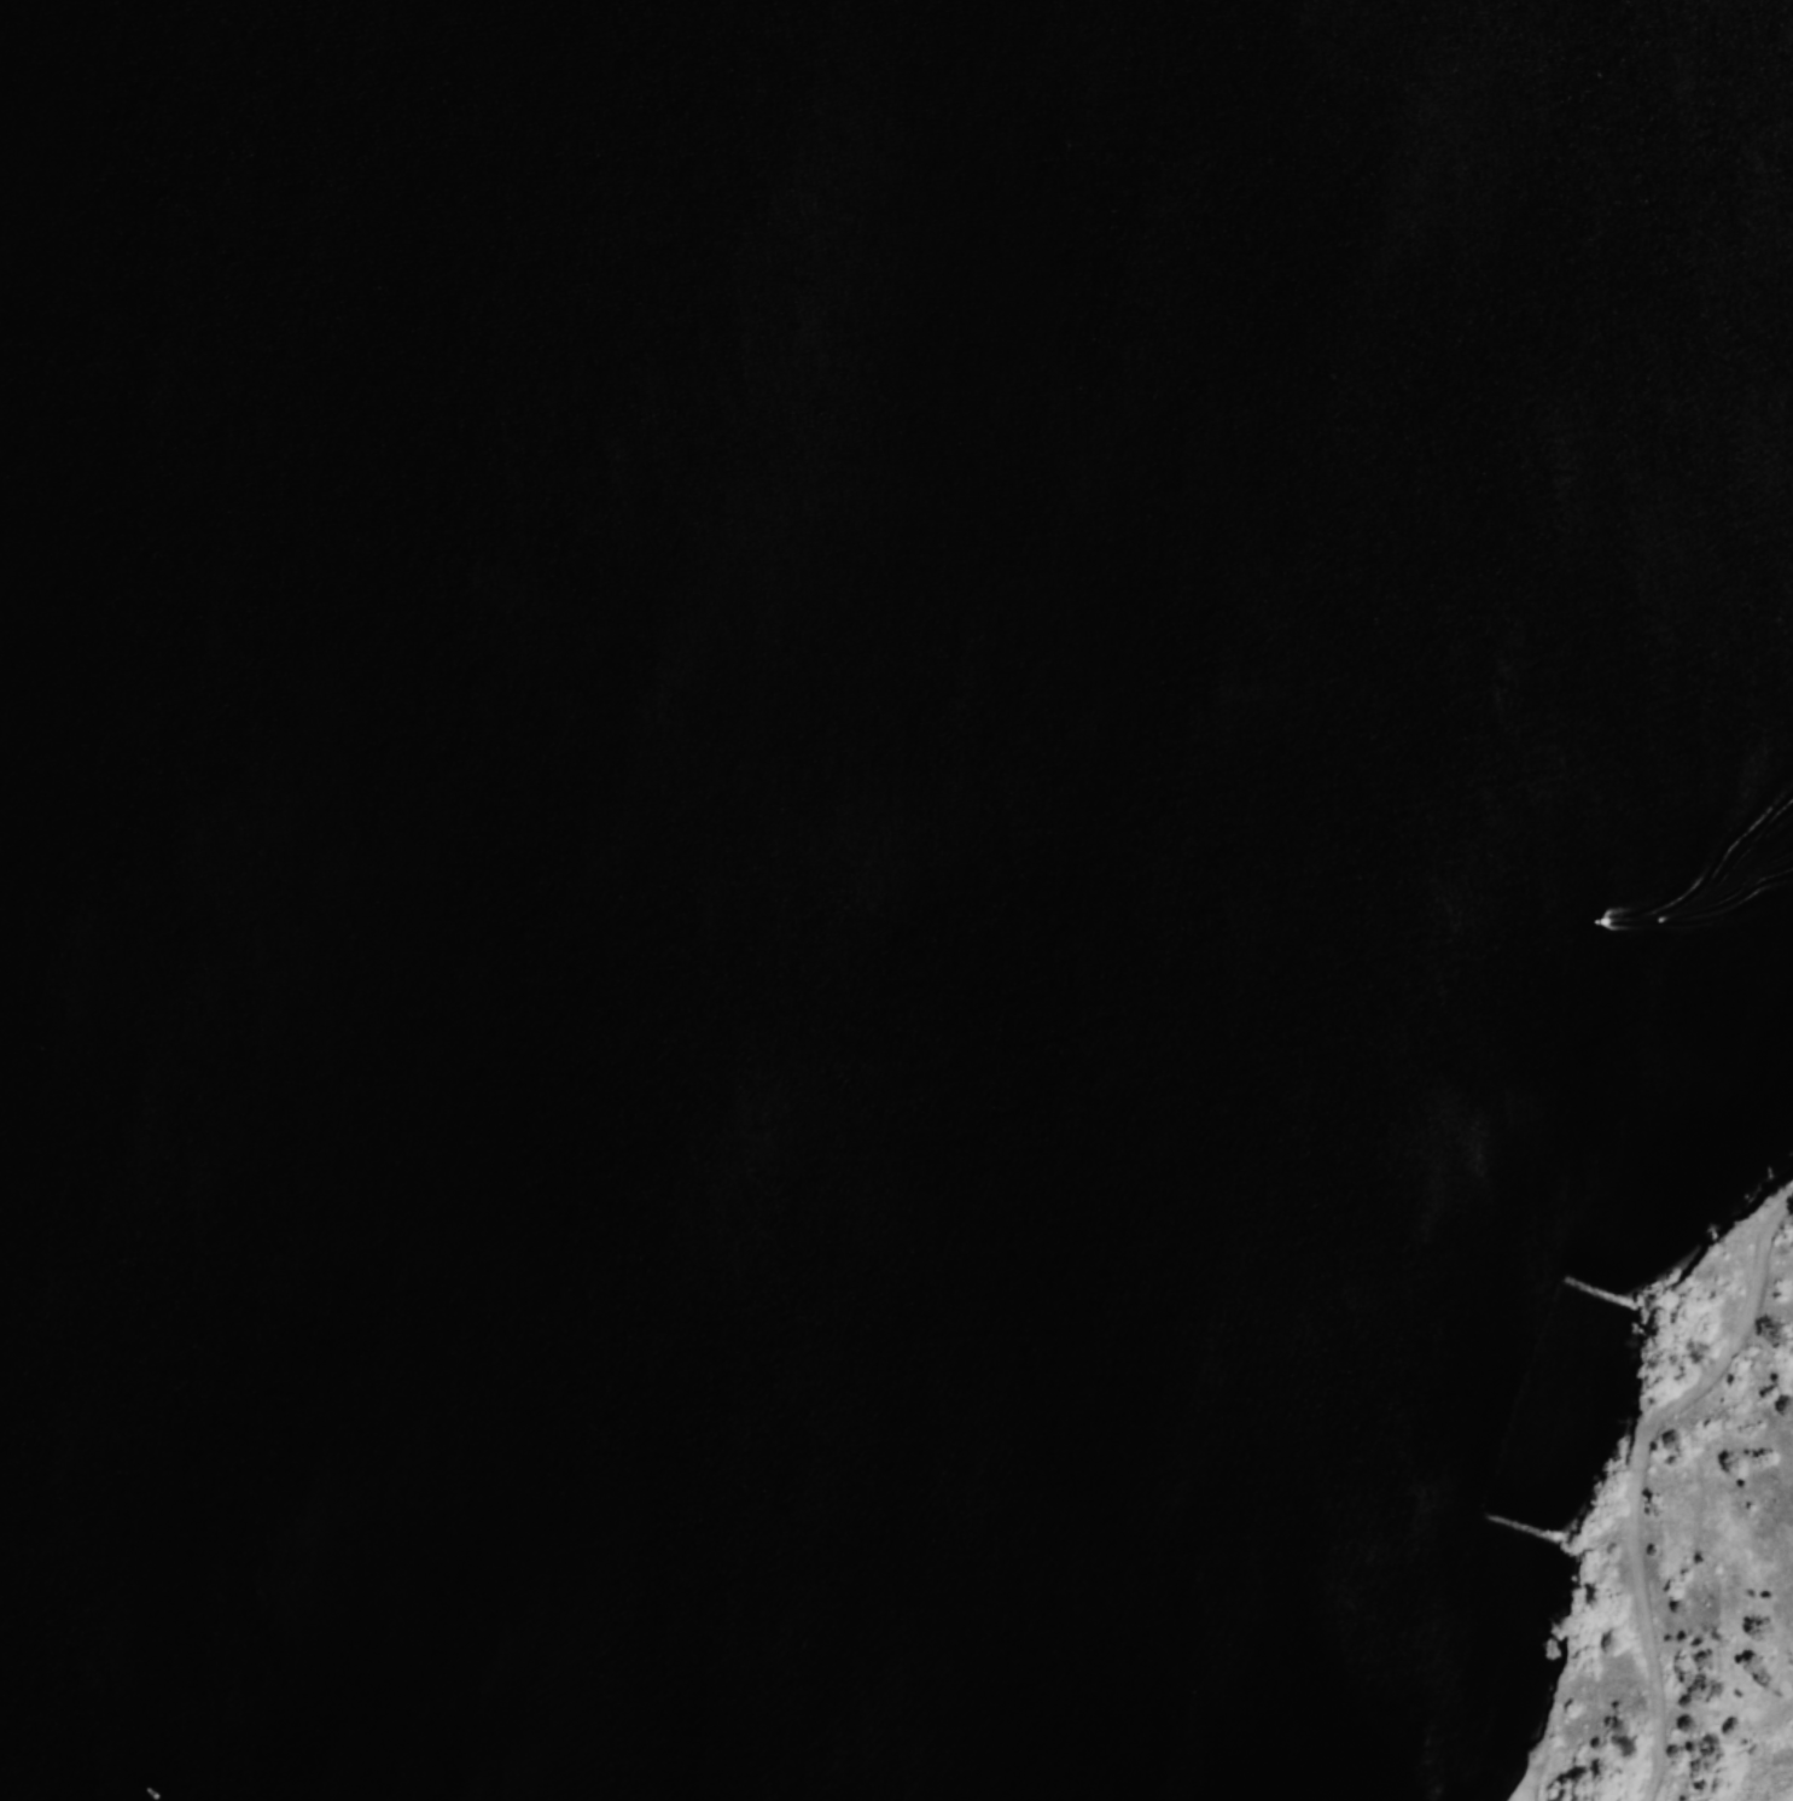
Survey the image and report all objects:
river: (397, 357)
park: (896, 900)
road: (1640, 1474)

